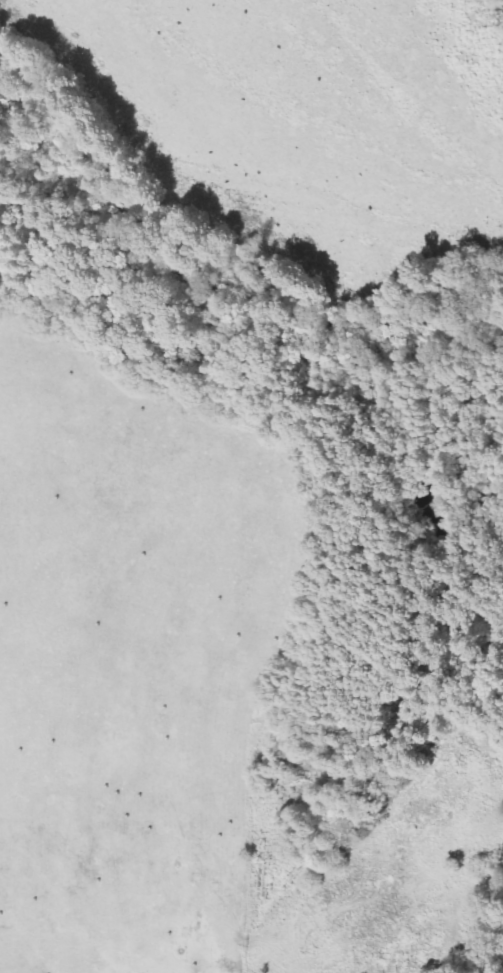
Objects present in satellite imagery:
road: (267, 741)

